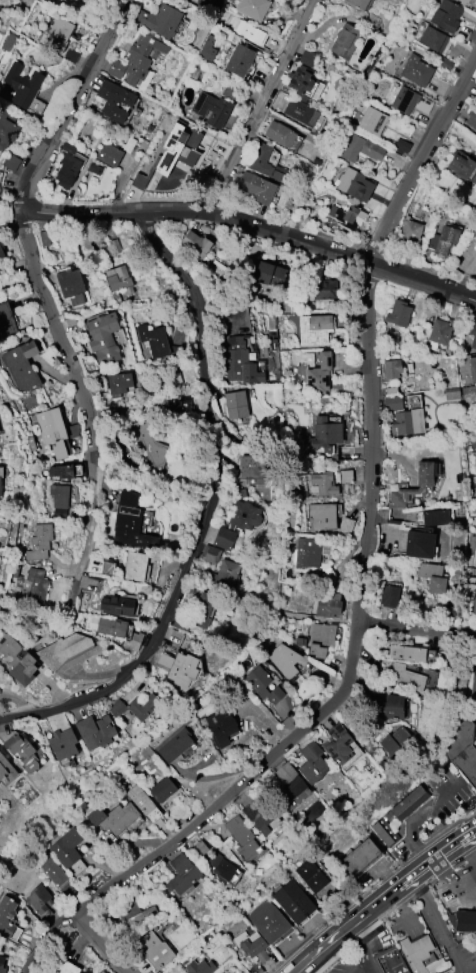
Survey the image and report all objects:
building: (463, 1)
building: (0, 4)
building: (357, 4)
building: (252, 8)
building: (446, 16)
building: (159, 20)
building: (57, 34)
building: (433, 39)
building: (344, 41)
building: (7, 42)
building: (270, 43)
building: (207, 48)
building: (307, 58)
building: (136, 59)
building: (239, 60)
building: (416, 70)
building: (302, 82)
building: (21, 84)
building: (404, 100)
building: (114, 101)
road: (69, 102)
road: (268, 107)
building: (211, 109)
building: (300, 112)
building: (471, 117)
building: (372, 121)
building: (6, 130)
building: (279, 134)
building: (360, 149)
building: (177, 150)
building: (109, 155)
building: (10, 162)
building: (263, 162)
building: (460, 164)
building: (95, 169)
building: (67, 170)
building: (139, 181)
building: (354, 185)
building: (256, 187)
road: (11, 209)
building: (346, 216)
road: (254, 227)
building: (409, 231)
building: (443, 240)
building: (195, 244)
building: (2, 252)
building: (267, 273)
building: (118, 283)
building: (70, 286)
building: (322, 290)
building: (398, 313)
building: (6, 321)
road: (367, 325)
building: (314, 329)
building: (439, 332)
building: (472, 333)
building: (103, 338)
building: (153, 341)
building: (238, 362)
building: (21, 366)
building: (392, 368)
building: (472, 369)
building: (319, 373)
building: (119, 383)
road: (82, 387)
building: (451, 394)
building: (392, 403)
building: (235, 405)
building: (408, 422)
building: (52, 431)
building: (324, 434)
building: (149, 447)
building: (475, 458)
building: (251, 467)
building: (60, 471)
building: (425, 474)
building: (346, 476)
building: (325, 484)
building: (0, 487)
building: (60, 500)
road: (210, 510)
building: (323, 516)
building: (436, 517)
building: (237, 521)
building: (130, 522)
building: (40, 542)
building: (419, 544)
building: (308, 553)
building: (211, 554)
building: (136, 567)
building: (432, 575)
building: (227, 576)
building: (37, 587)
building: (389, 596)
building: (329, 606)
building: (116, 607)
building: (475, 607)
building: (203, 611)
building: (112, 627)
road: (417, 630)
building: (321, 639)
building: (134, 640)
building: (63, 650)
building: (407, 653)
building: (18, 659)
building: (284, 660)
road: (474, 660)
building: (179, 669)
building: (406, 678)
building: (263, 685)
building: (472, 686)
building: (135, 707)
building: (392, 707)
parking lot: (475, 725)
building: (221, 728)
building: (96, 731)
building: (394, 740)
building: (63, 744)
building: (176, 745)
building: (342, 745)
building: (460, 747)
building: (24, 752)
building: (312, 763)
building: (6, 770)
building: (289, 784)
building: (164, 788)
parking lot: (448, 789)
road: (207, 807)
building: (127, 812)
building: (261, 813)
building: (398, 815)
road: (417, 815)
road: (469, 833)
building: (243, 838)
building: (66, 848)
road: (447, 848)
road: (469, 852)
building: (361, 857)
building: (224, 869)
building: (53, 871)
building: (183, 874)
building: (312, 875)
road: (452, 880)
building: (39, 899)
building: (295, 901)
road: (402, 905)
road: (360, 913)
building: (7, 915)
building: (136, 915)
building: (269, 921)
building: (465, 921)
road: (437, 923)
road: (366, 931)
road: (98, 944)
building: (252, 945)
road: (355, 950)
building: (155, 951)
building: (410, 956)
parking lot: (345, 963)
building: (2, 965)
parking lot: (462, 965)
building: (200, 967)
building: (68, 968)
road: (358, 970)
road: (470, 970)
building: (102, 972)

